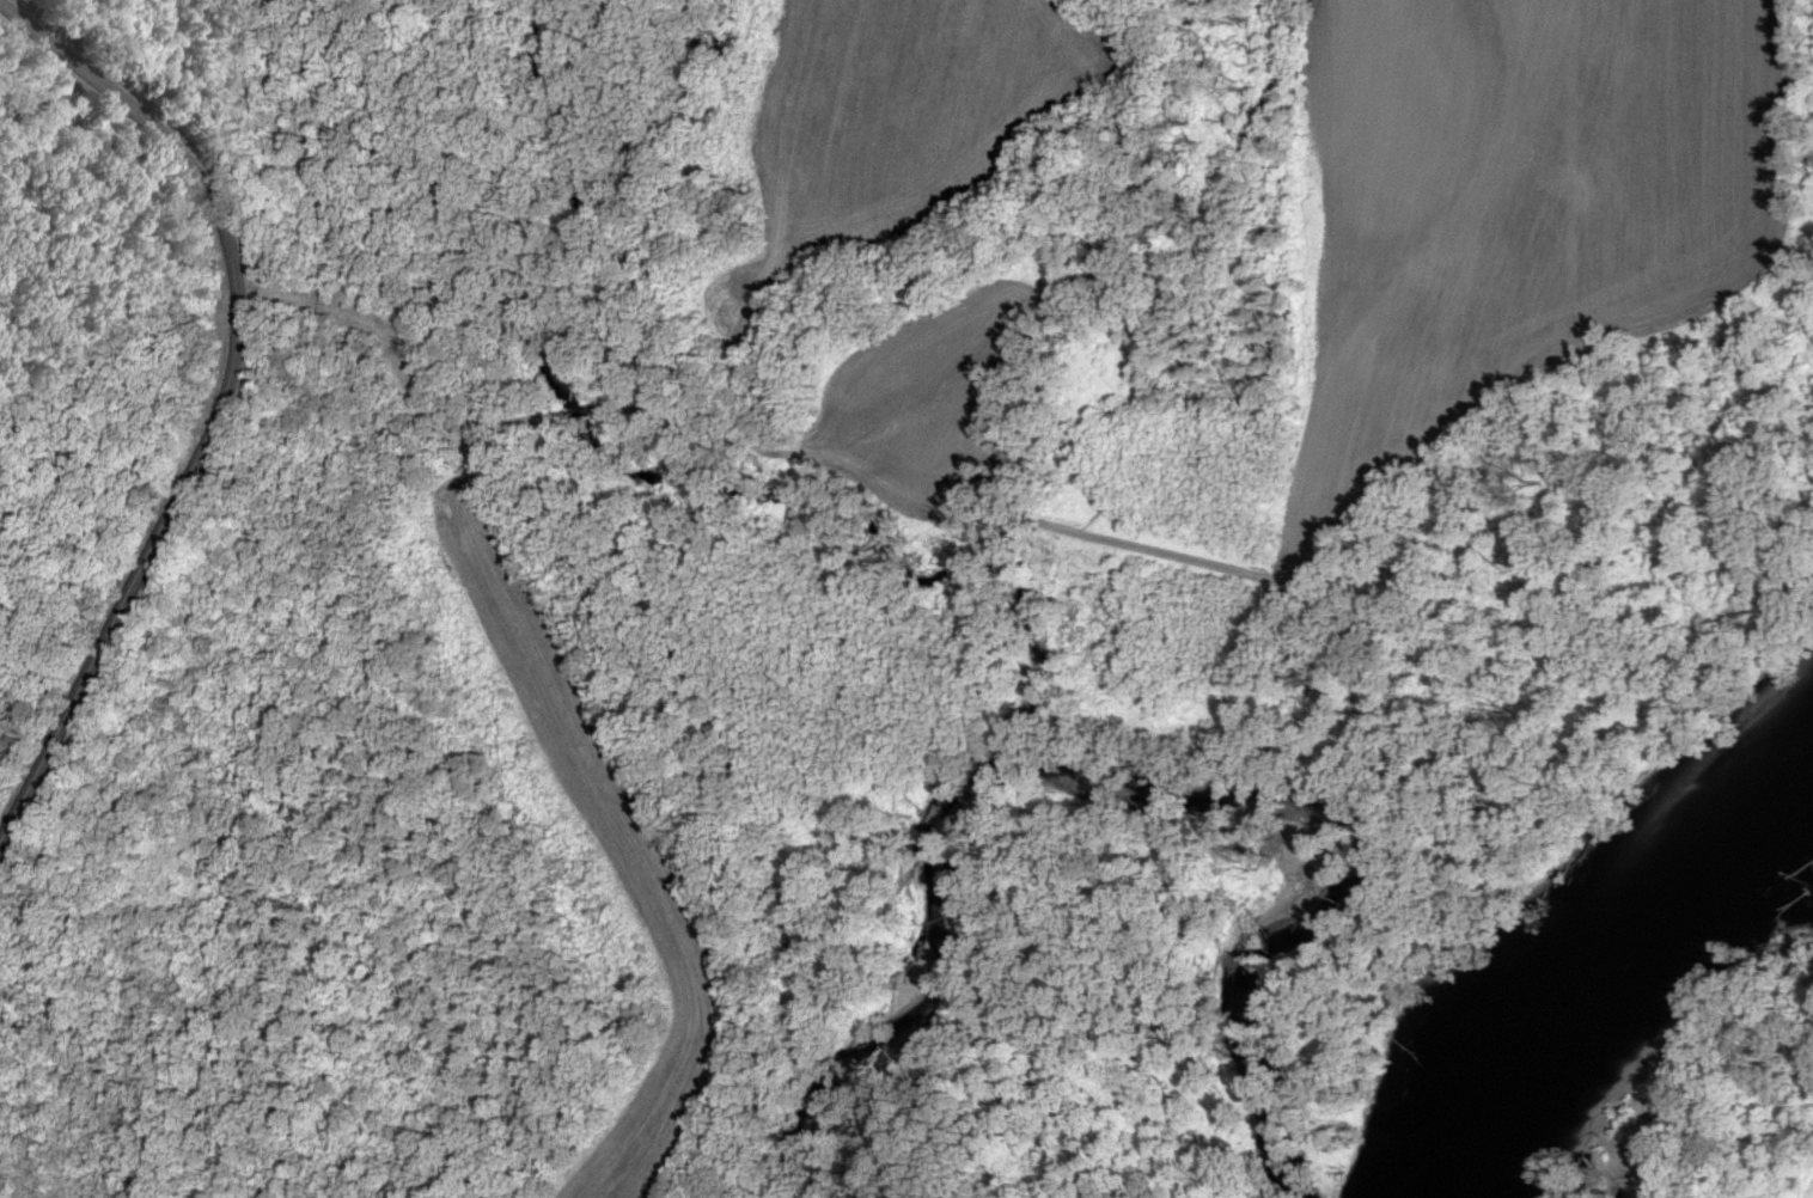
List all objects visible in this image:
road: (386, 347)
road: (222, 398)
road: (489, 489)
river: (1597, 947)

